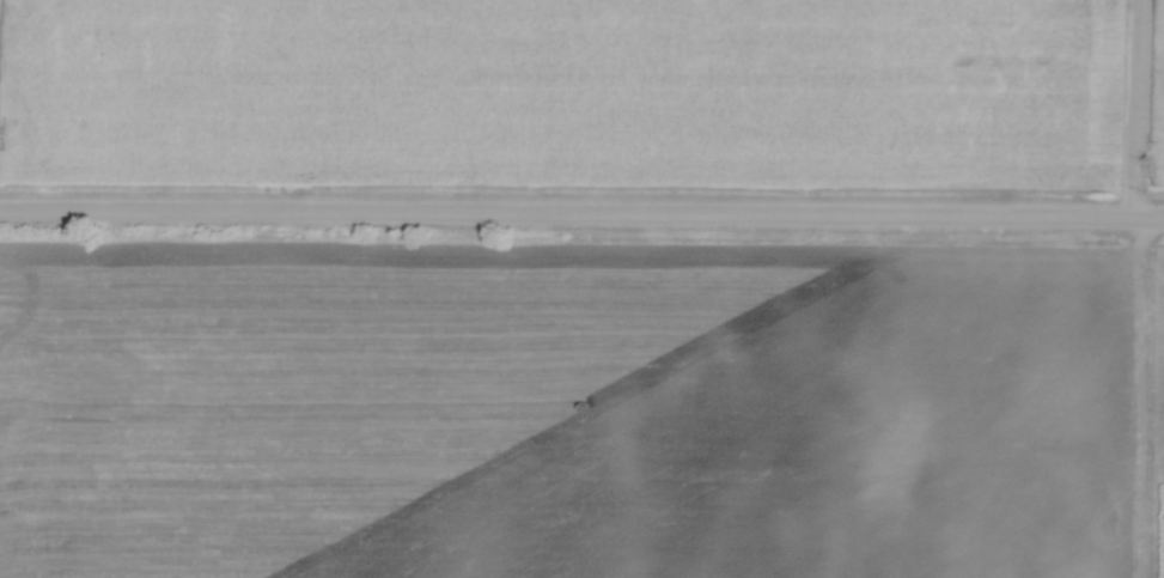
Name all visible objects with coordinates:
road: (1135, 112)
road: (581, 221)

